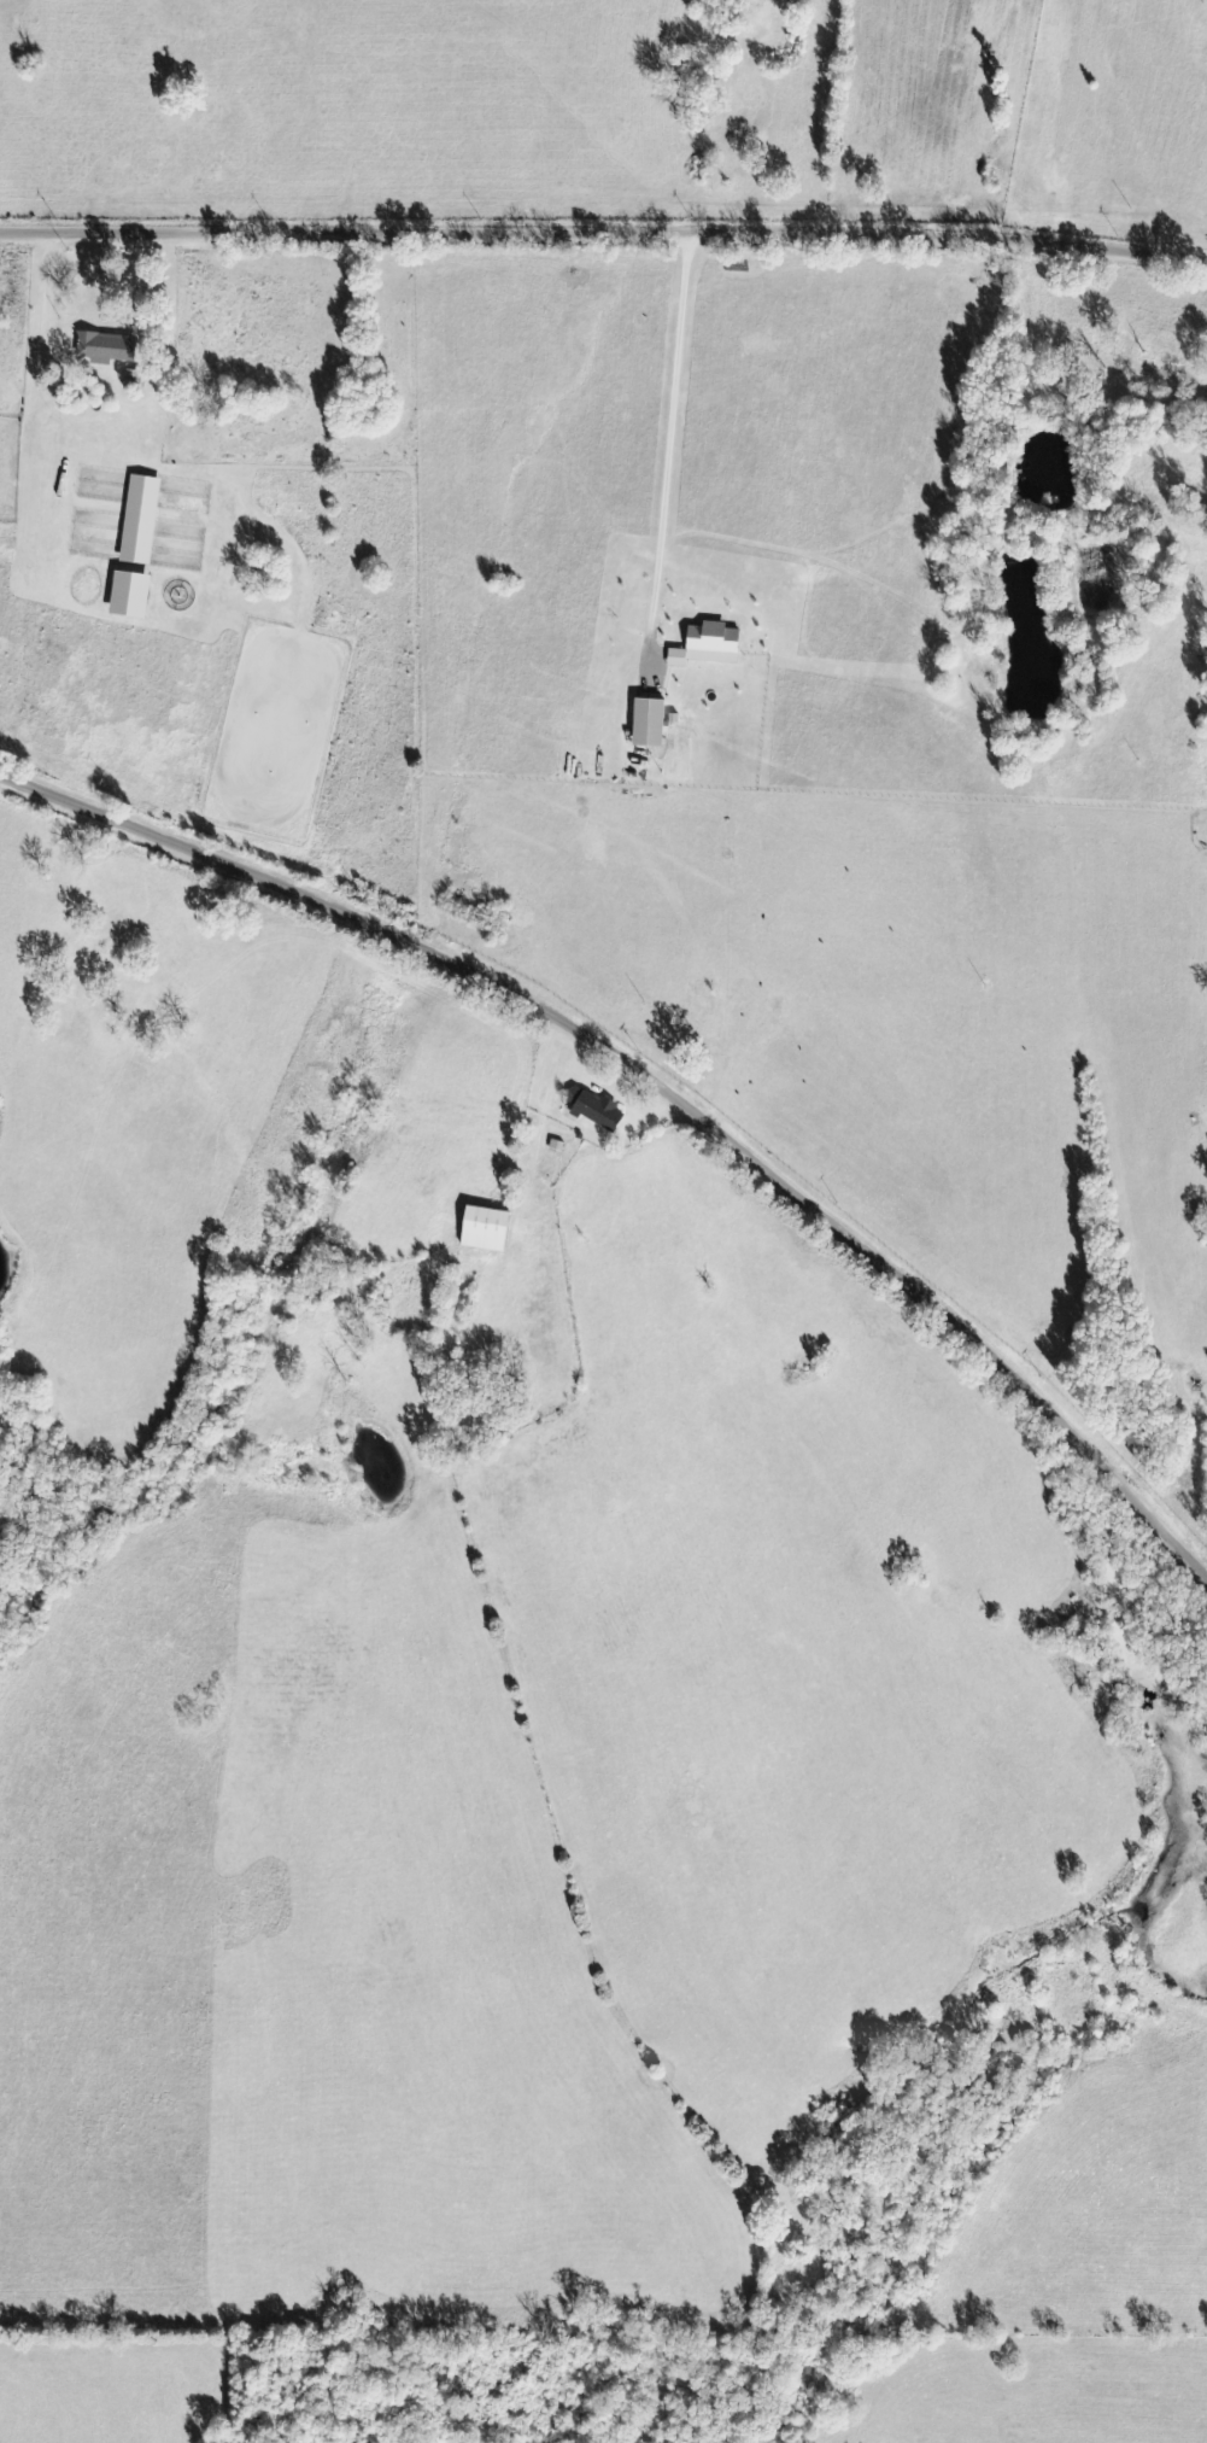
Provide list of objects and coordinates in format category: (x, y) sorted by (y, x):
road: (603, 235)
building: (110, 349)
building: (145, 521)
building: (135, 596)
building: (711, 647)
building: (654, 725)
road: (663, 1079)
building: (598, 1111)
building: (491, 1231)

